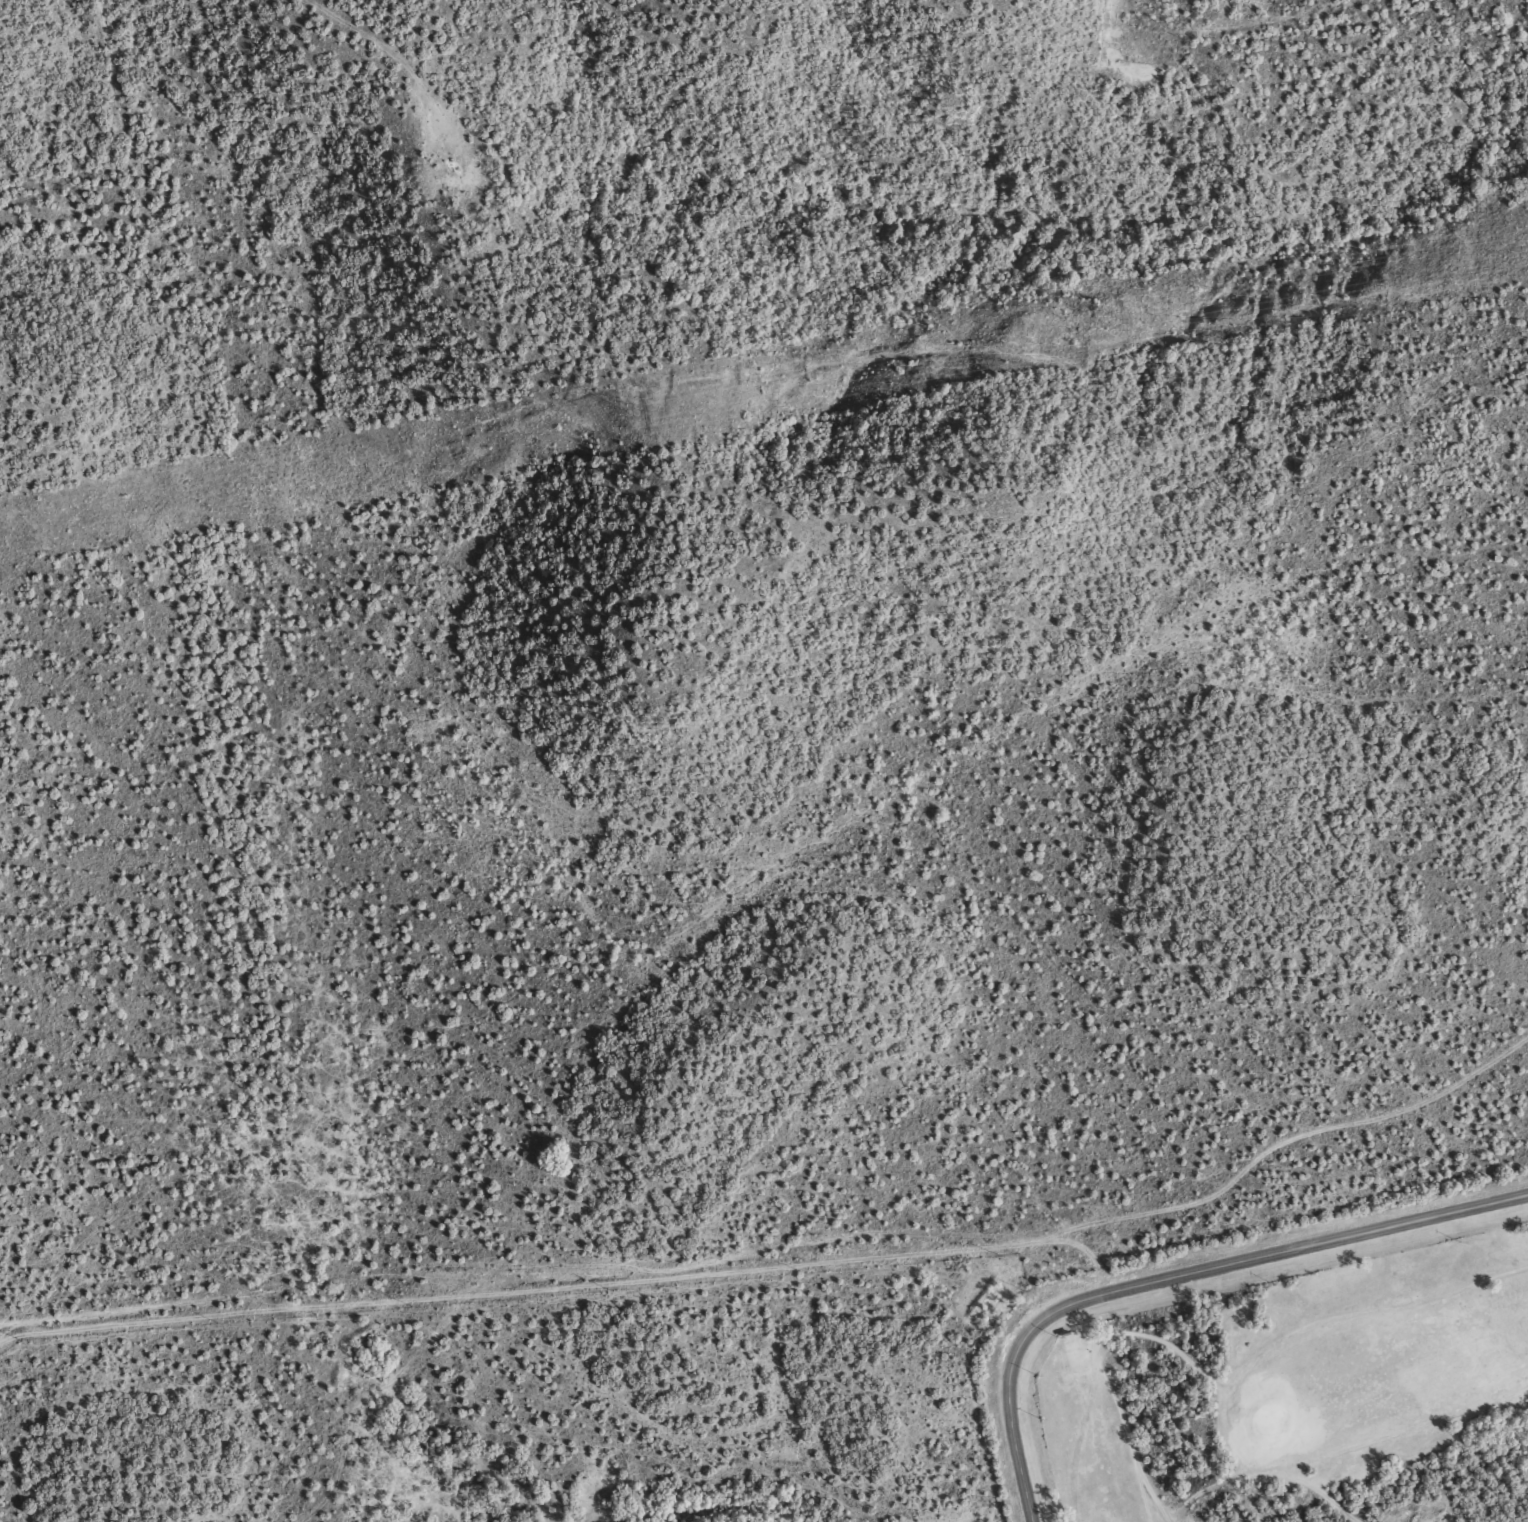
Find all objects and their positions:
power tower: (1117, 321)
power tower: (635, 413)
road: (794, 1255)
road: (1178, 1275)
building: (1064, 1333)
road: (374, 1422)

